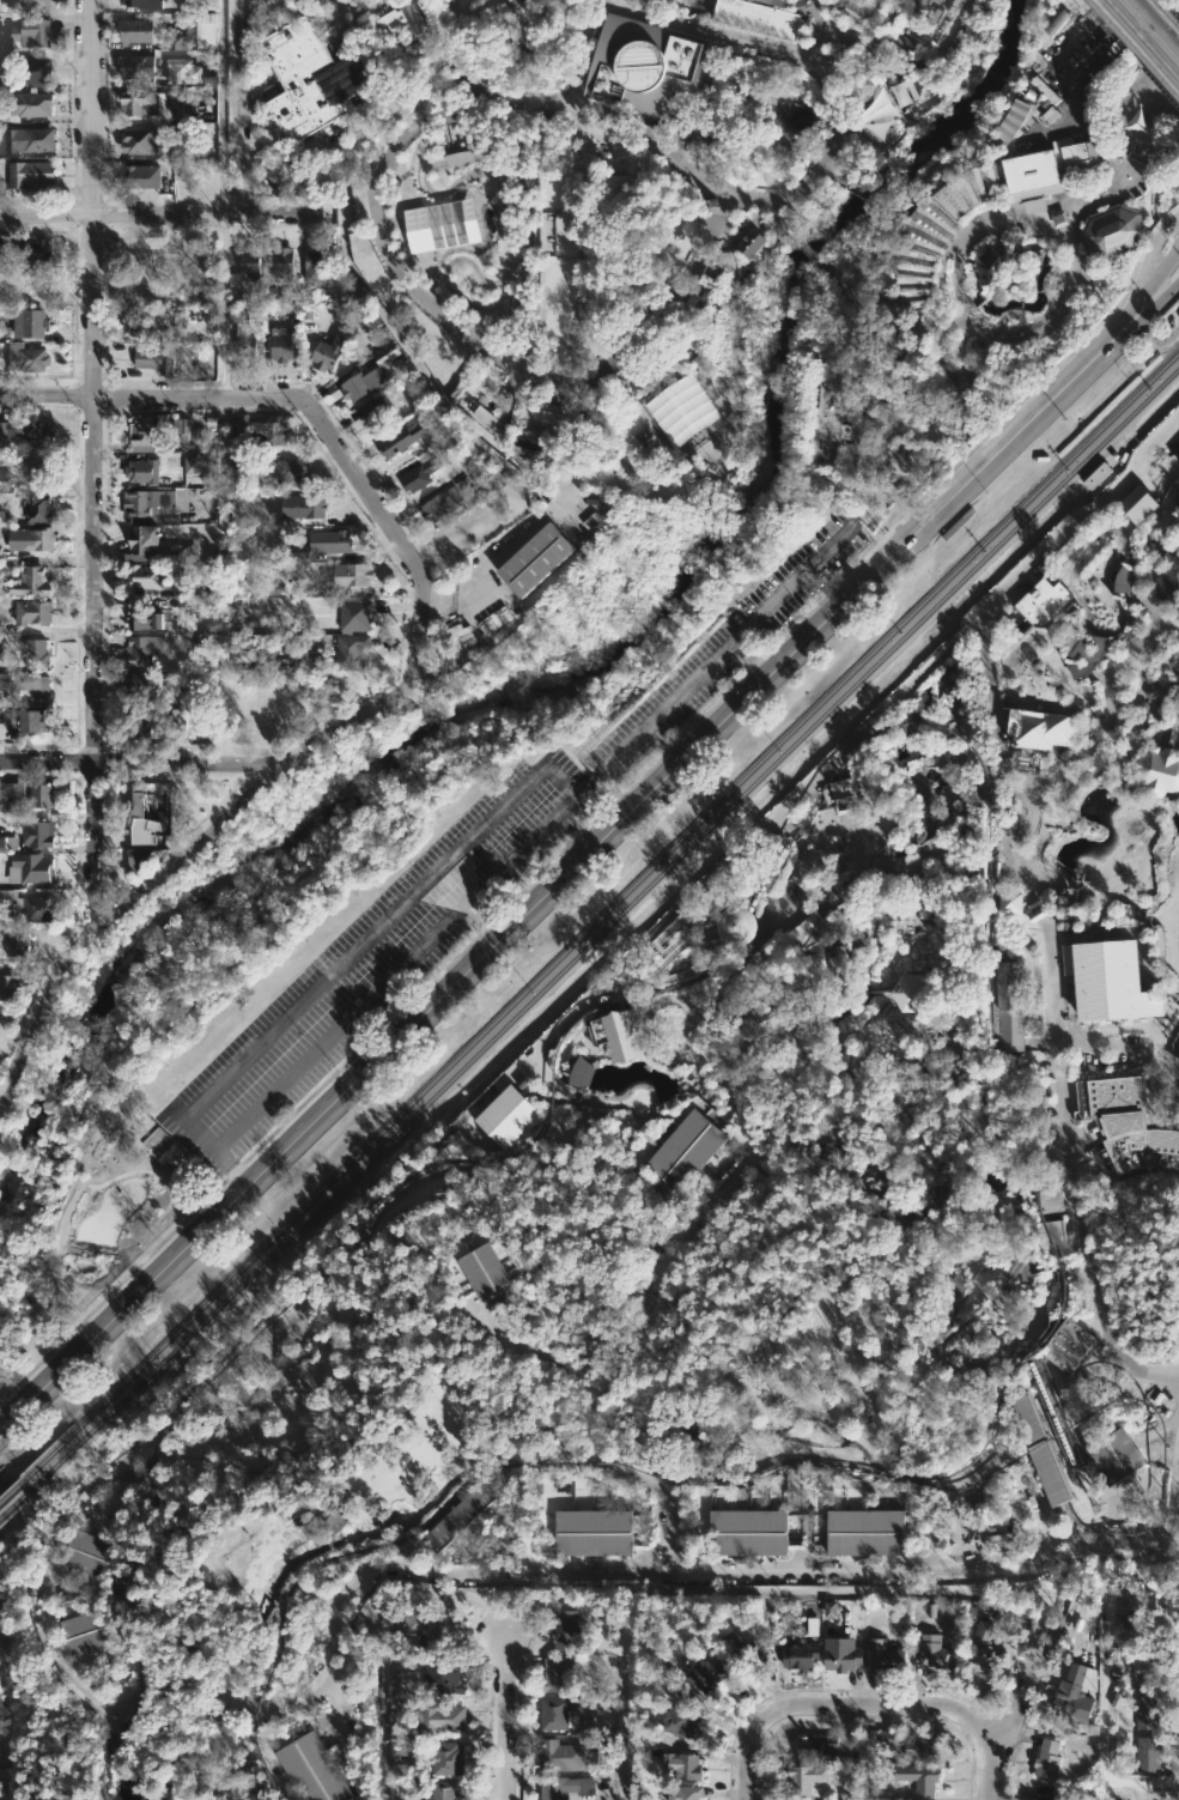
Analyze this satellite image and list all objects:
building: (393, 2)
building: (652, 2)
building: (31, 4)
building: (140, 4)
building: (861, 7)
building: (760, 16)
building: (930, 20)
road: (1165, 20)
road: (1157, 22)
building: (395, 25)
building: (136, 31)
building: (518, 31)
building: (29, 32)
road: (949, 34)
building: (193, 36)
road: (1143, 37)
building: (334, 38)
parking lot: (1088, 41)
building: (904, 42)
road: (1096, 51)
road: (1057, 55)
building: (570, 62)
road: (816, 62)
building: (136, 65)
building: (650, 68)
building: (34, 69)
building: (303, 80)
building: (905, 92)
road: (1108, 102)
building: (139, 103)
road: (220, 105)
road: (238, 105)
building: (26, 107)
building: (1008, 126)
building: (24, 140)
building: (136, 143)
building: (460, 157)
road: (839, 168)
building: (1045, 169)
building: (26, 176)
building: (138, 177)
building: (612, 188)
road: (881, 193)
road: (1090, 200)
road: (124, 213)
road: (296, 213)
road: (774, 213)
building: (1059, 218)
building: (1111, 230)
building: (936, 232)
building: (564, 234)
building: (758, 241)
road: (956, 242)
building: (32, 250)
road: (1150, 250)
building: (139, 251)
road: (813, 254)
building: (989, 254)
road: (387, 255)
building: (1, 256)
building: (281, 263)
building: (245, 271)
building: (315, 272)
road: (838, 281)
road: (1147, 292)
building: (638, 304)
road: (1147, 316)
road: (932, 317)
building: (28, 321)
building: (136, 323)
road: (991, 328)
road: (861, 329)
building: (243, 332)
road: (1156, 338)
building: (278, 344)
road: (408, 351)
building: (327, 352)
building: (25, 357)
building: (151, 358)
road: (1057, 363)
building: (354, 387)
road: (154, 399)
building: (480, 406)
building: (375, 411)
building: (701, 412)
road: (868, 420)
building: (828, 424)
building: (182, 429)
road: (893, 429)
building: (28, 431)
building: (268, 431)
building: (140, 435)
building: (400, 435)
building: (648, 444)
building: (37, 459)
road: (96, 465)
building: (192, 466)
building: (426, 467)
building: (480, 468)
building: (145, 469)
building: (290, 469)
building: (1096, 475)
building: (5, 481)
road: (897, 492)
building: (439, 504)
building: (1138, 504)
building: (147, 505)
building: (310, 505)
building: (41, 508)
road: (1082, 513)
building: (592, 522)
building: (456, 533)
road: (521, 534)
building: (36, 538)
building: (144, 540)
building: (336, 540)
building: (299, 551)
building: (0, 552)
building: (535, 558)
road: (1163, 558)
road: (1137, 572)
building: (348, 574)
building: (141, 575)
building: (1124, 581)
building: (29, 582)
building: (1167, 587)
building: (1038, 608)
building: (32, 612)
building: (352, 614)
building: (144, 618)
road: (1167, 620)
parking lot: (727, 646)
building: (1, 647)
building: (146, 647)
road: (723, 647)
building: (350, 649)
building: (37, 651)
road: (748, 659)
building: (1086, 659)
road: (990, 683)
building: (25, 685)
building: (142, 685)
building: (1148, 691)
building: (1141, 705)
road: (1108, 708)
building: (32, 719)
building: (180, 719)
building: (138, 723)
building: (1039, 728)
road: (1174, 732)
road: (1106, 751)
road: (548, 759)
road: (276, 760)
road: (118, 766)
building: (1157, 771)
road: (1069, 772)
road: (1122, 775)
road: (585, 782)
road: (974, 784)
road: (1058, 786)
building: (847, 787)
building: (41, 795)
building: (11, 796)
road: (1057, 806)
building: (144, 822)
road: (839, 825)
building: (37, 834)
road: (1020, 834)
building: (8, 843)
building: (145, 857)
road: (727, 859)
building: (29, 868)
railway: (770, 873)
road: (555, 881)
road: (1058, 885)
building: (1046, 896)
building: (1009, 903)
building: (39, 909)
road: (485, 915)
railway: (601, 916)
building: (735, 926)
railway: (737, 928)
building: (1064, 928)
railway: (602, 929)
building: (19, 943)
parking lot: (375, 959)
railway: (707, 968)
building: (839, 971)
building: (760, 974)
building: (1108, 981)
building: (10, 987)
road: (721, 992)
building: (910, 993)
building: (1008, 1006)
road: (704, 1026)
building: (618, 1032)
road: (640, 1041)
road: (563, 1048)
road: (607, 1049)
road: (595, 1051)
road: (670, 1062)
road: (724, 1065)
building: (579, 1072)
building: (506, 1116)
building: (1125, 1126)
building: (685, 1151)
building: (168, 1153)
road: (227, 1168)
road: (1069, 1169)
building: (1046, 1200)
building: (1050, 1230)
building: (1013, 1266)
building: (484, 1269)
building: (953, 1290)
railway: (281, 1308)
road: (633, 1337)
road: (523, 1343)
building: (1068, 1346)
railway: (1075, 1425)
railway: (987, 1438)
building: (1039, 1449)
building: (1114, 1457)
railway: (1080, 1480)
railway: (11, 1493)
building: (117, 1496)
railway: (12, 1505)
building: (461, 1514)
railway: (1080, 1523)
building: (327, 1525)
building: (748, 1532)
building: (865, 1532)
railway: (1112, 1532)
building: (592, 1533)
building: (85, 1556)
road: (478, 1577)
road: (734, 1590)
building: (831, 1610)
building: (1128, 1623)
building: (424, 1624)
building: (560, 1624)
building: (442, 1631)
building: (83, 1632)
building: (739, 1646)
building: (982, 1647)
building: (934, 1650)
building: (798, 1655)
building: (840, 1655)
building: (883, 1655)
building: (1144, 1666)
building: (552, 1674)
building: (701, 1674)
building: (439, 1677)
building: (1065, 1697)
road: (1016, 1707)
road: (839, 1708)
building: (559, 1709)
building: (1143, 1709)
road: (502, 1715)
road: (1105, 1715)
building: (432, 1716)
building: (679, 1720)
building: (908, 1744)
building: (814, 1747)
building: (400, 1749)
building: (1148, 1753)
road: (865, 1754)
building: (561, 1756)
building: (443, 1757)
building: (1046, 1758)
building: (681, 1764)
building: (311, 1769)
building: (803, 1777)
building: (919, 1777)
road: (1132, 1782)
building: (563, 1786)
building: (440, 1790)
building: (683, 1792)
building: (1034, 1799)

